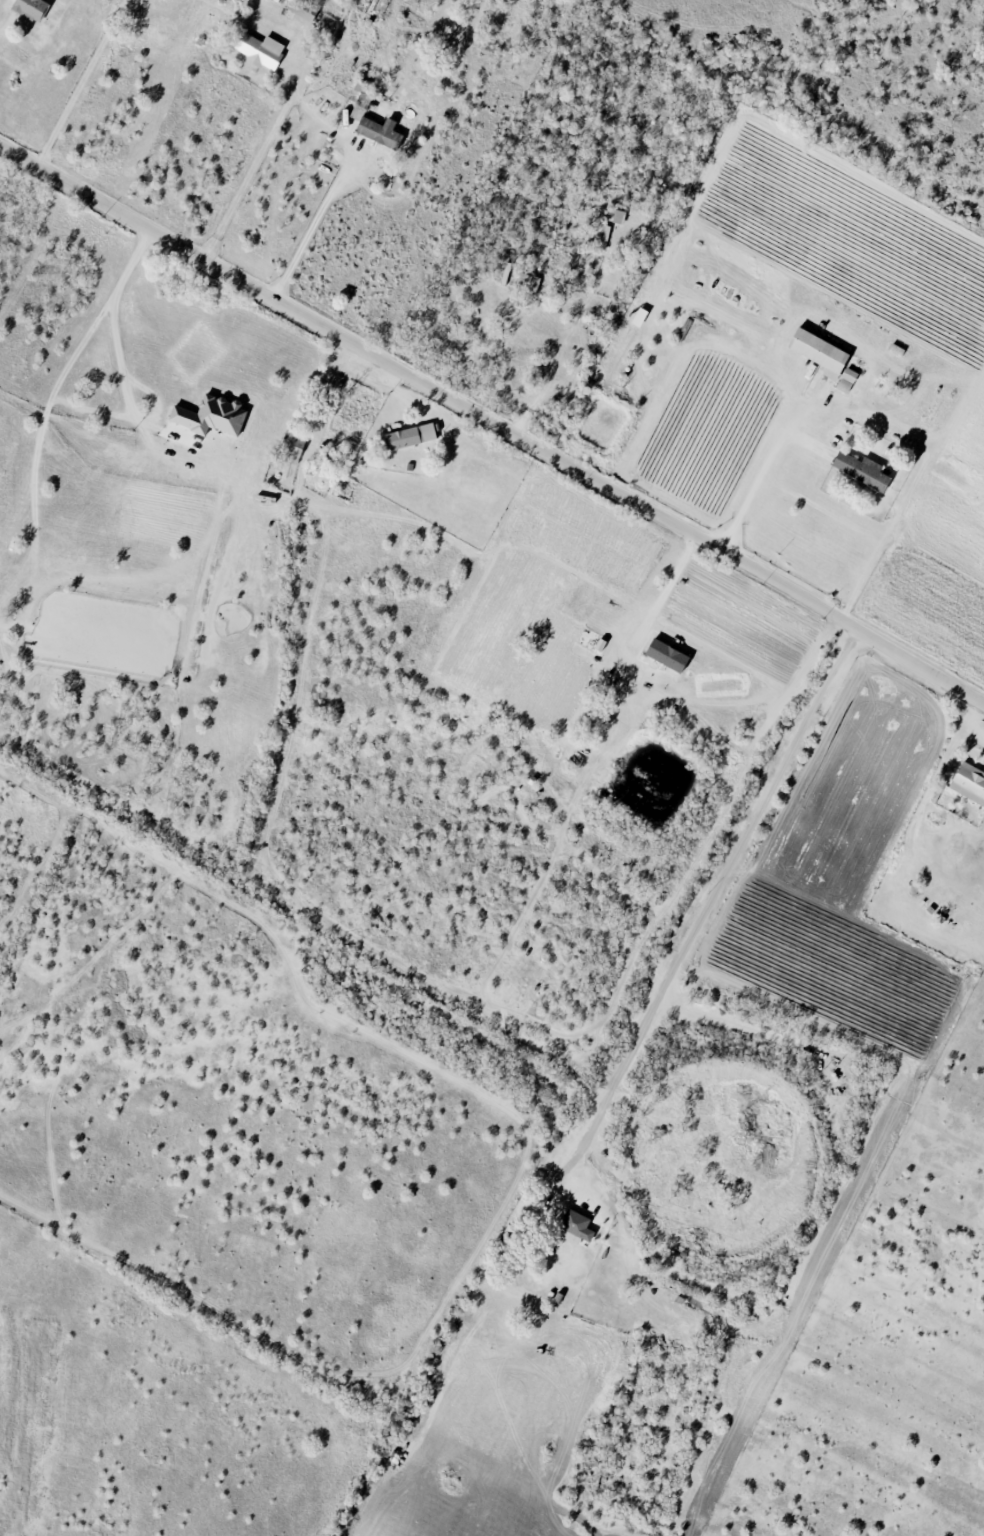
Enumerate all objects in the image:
building: (31, 8)
building: (303, 9)
road: (0, 28)
building: (261, 50)
road: (81, 84)
building: (380, 132)
road: (256, 159)
road: (312, 224)
building: (820, 352)
road: (558, 357)
road: (125, 372)
road: (56, 387)
building: (211, 416)
road: (491, 427)
building: (411, 437)
building: (293, 444)
building: (862, 470)
road: (752, 493)
road: (661, 589)
building: (667, 655)
road: (972, 722)
building: (969, 782)
road: (718, 917)
building: (576, 1228)

